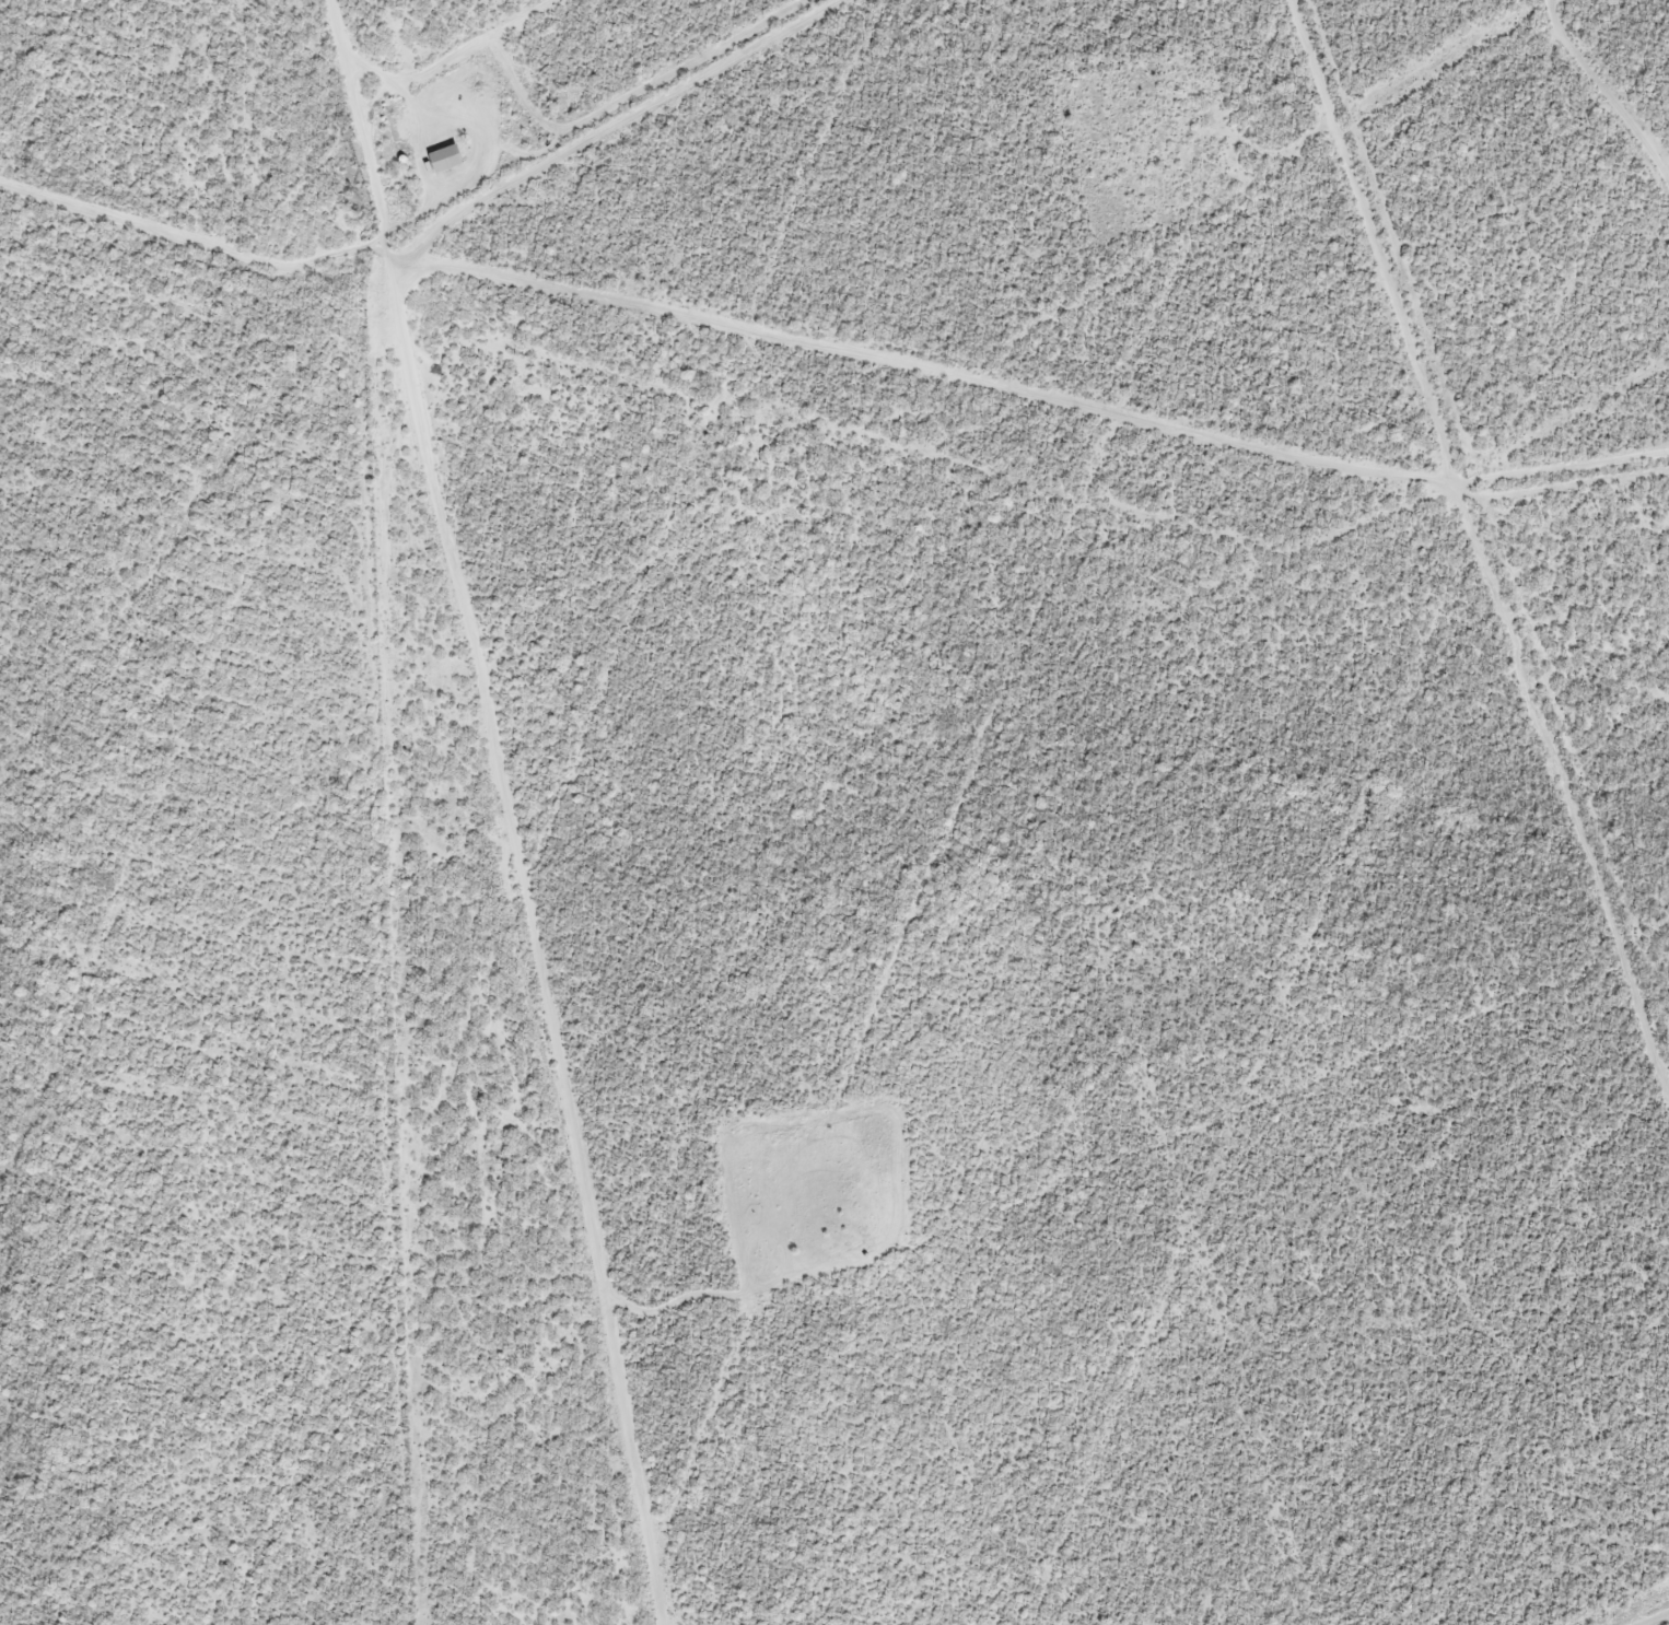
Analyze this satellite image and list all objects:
building: (450, 160)

